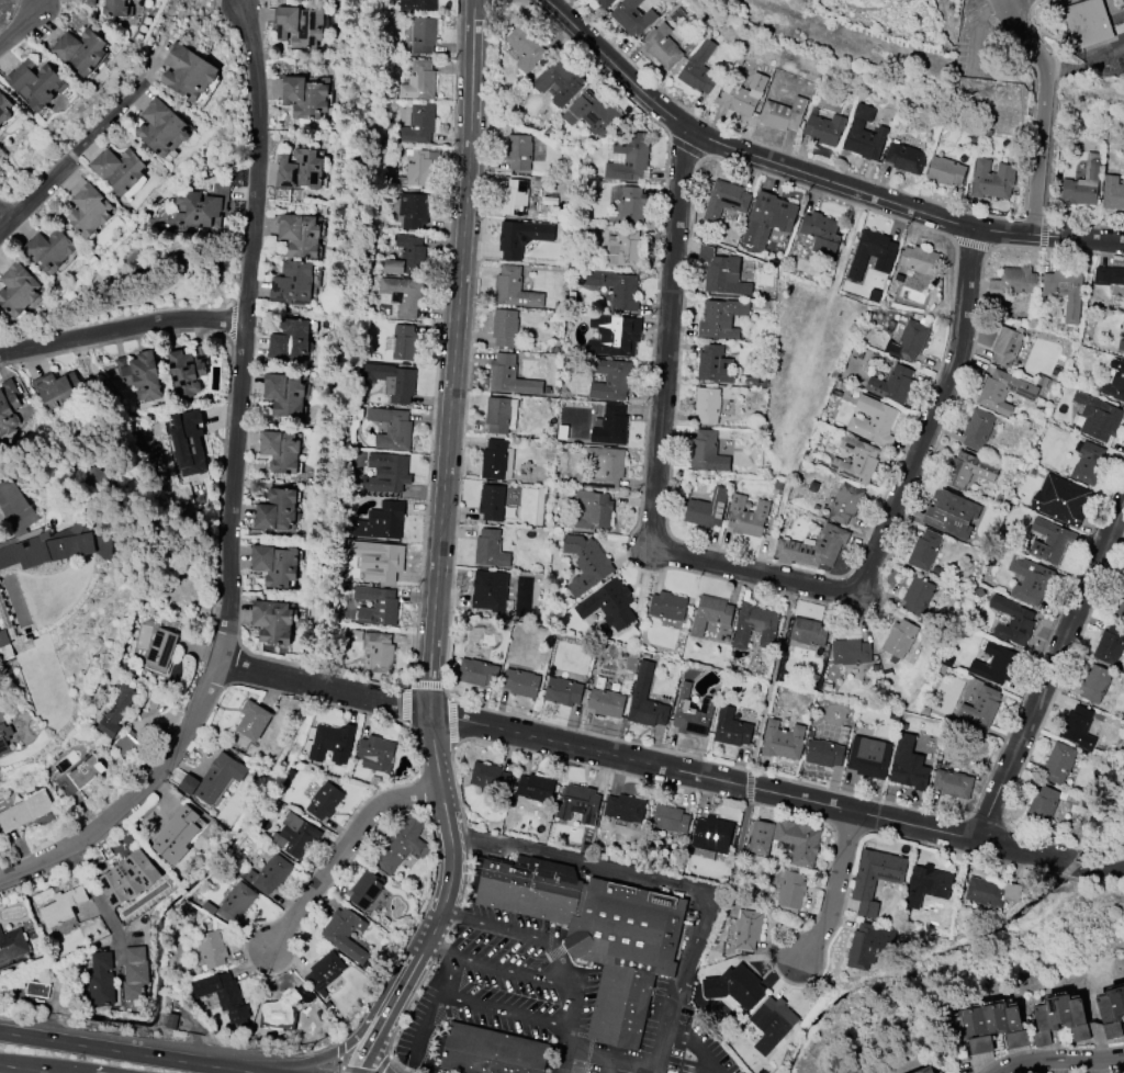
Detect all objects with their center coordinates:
road: (999, 0)
road: (1000, 0)
road: (1001, 0)
building: (90, 2)
building: (604, 2)
building: (416, 4)
building: (114, 8)
building: (631, 15)
building: (1087, 21)
road: (21, 22)
building: (300, 24)
building: (1119, 27)
building: (423, 34)
building: (662, 45)
building: (525, 46)
building: (80, 49)
building: (698, 68)
railway: (930, 69)
building: (187, 71)
building: (418, 80)
building: (559, 81)
building: (34, 82)
building: (743, 94)
building: (305, 95)
building: (4, 106)
road: (1042, 110)
building: (591, 113)
building: (783, 113)
building: (417, 124)
building: (161, 126)
building: (823, 127)
building: (863, 134)
building: (518, 150)
building: (628, 156)
building: (904, 156)
road: (72, 158)
building: (417, 166)
building: (117, 168)
building: (300, 168)
road: (808, 170)
building: (945, 170)
building: (991, 178)
building: (1082, 182)
building: (1113, 192)
building: (515, 196)
building: (726, 201)
building: (631, 203)
building: (202, 206)
building: (88, 210)
building: (413, 210)
building: (768, 217)
building: (821, 231)
building: (301, 234)
building: (521, 236)
building: (48, 249)
building: (622, 249)
building: (872, 252)
building: (406, 255)
building: (918, 258)
building: (721, 271)
building: (1108, 275)
building: (1018, 279)
building: (292, 282)
building: (514, 287)
building: (616, 287)
building: (19, 290)
building: (1064, 290)
building: (402, 294)
building: (721, 317)
building: (504, 327)
road: (121, 329)
building: (614, 334)
building: (289, 339)
building: (908, 339)
building: (1121, 339)
building: (404, 341)
building: (1007, 345)
building: (715, 364)
building: (187, 369)
building: (139, 374)
building: (509, 375)
building: (610, 379)
building: (392, 380)
building: (892, 382)
building: (1115, 382)
building: (58, 389)
building: (1003, 391)
building: (284, 394)
road: (450, 394)
building: (707, 404)
building: (8, 406)
building: (501, 414)
building: (1098, 416)
building: (873, 420)
building: (610, 425)
building: (392, 427)
building: (977, 428)
building: (187, 441)
building: (280, 450)
building: (707, 451)
building: (496, 459)
building: (855, 460)
building: (1088, 462)
building: (603, 466)
building: (968, 468)
building: (386, 471)
road: (232, 489)
building: (1060, 499)
building: (492, 501)
building: (845, 502)
building: (593, 508)
building: (707, 508)
building: (276, 509)
building: (951, 512)
building: (746, 515)
building: (381, 520)
building: (44, 531)
building: (1054, 543)
building: (814, 547)
building: (491, 549)
building: (925, 550)
building: (385, 560)
building: (587, 561)
building: (276, 563)
road: (737, 571)
building: (1033, 578)
building: (485, 589)
building: (918, 595)
building: (609, 601)
building: (1120, 605)
building: (668, 606)
building: (381, 608)
building: (712, 613)
building: (273, 620)
building: (1014, 620)
building: (756, 624)
building: (809, 631)
building: (5, 636)
building: (900, 637)
building: (1111, 643)
building: (161, 650)
building: (380, 651)
building: (851, 652)
building: (996, 663)
building: (477, 671)
road: (1050, 671)
building: (521, 682)
building: (1095, 682)
building: (564, 690)
building: (647, 699)
building: (607, 700)
building: (981, 707)
building: (115, 711)
building: (693, 712)
building: (254, 720)
building: (1079, 726)
building: (732, 727)
building: (11, 728)
building: (784, 739)
building: (331, 741)
building: (126, 744)
building: (376, 753)
building: (825, 753)
building: (869, 756)
building: (1059, 761)
building: (908, 764)
road: (671, 770)
building: (81, 773)
building: (214, 777)
building: (491, 777)
building: (953, 782)
building: (536, 787)
building: (325, 800)
building: (580, 803)
building: (1042, 803)
building: (626, 807)
building: (25, 810)
building: (671, 818)
building: (715, 832)
building: (177, 834)
building: (297, 834)
building: (787, 837)
building: (403, 843)
road: (340, 850)
road: (625, 869)
building: (880, 869)
building: (272, 873)
building: (130, 877)
building: (925, 884)
building: (366, 889)
road: (838, 889)
building: (791, 892)
building: (991, 892)
building: (236, 902)
building: (64, 905)
road: (440, 908)
building: (748, 928)
building: (346, 933)
building: (596, 938)
building: (869, 942)
building: (13, 945)
building: (212, 948)
building: (325, 972)
building: (135, 973)
road: (580, 978)
building: (101, 979)
building: (733, 985)
building: (36, 989)
building: (224, 993)
parking lot: (535, 995)
building: (294, 1002)
road: (483, 1002)
building: (1112, 1012)
building: (1060, 1018)
building: (773, 1021)
building: (985, 1024)
road: (425, 1025)
road: (666, 1028)
road: (370, 1044)
road: (697, 1044)
building: (493, 1047)
road: (574, 1049)
road: (331, 1053)
road: (127, 1054)
road: (562, 1060)
road: (1063, 1061)
road: (607, 1065)
road: (23, 1069)
building: (928, 1070)

